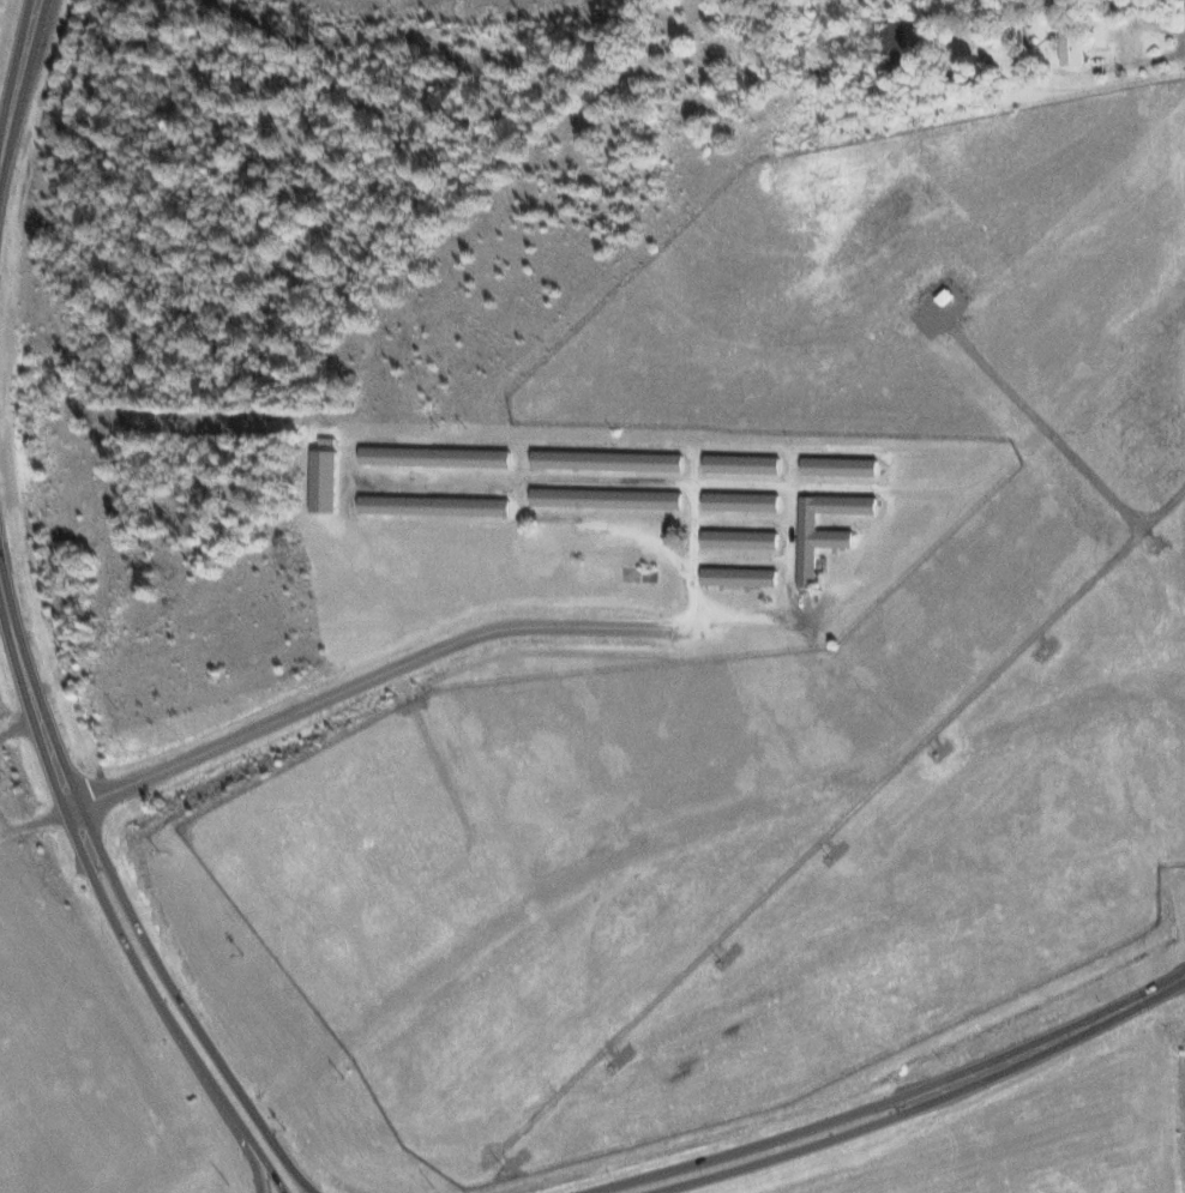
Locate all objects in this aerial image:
building: (894, 41)
building: (1075, 44)
road: (13, 113)
building: (435, 454)
building: (608, 459)
building: (744, 462)
building: (841, 464)
building: (326, 478)
building: (608, 496)
building: (741, 500)
building: (434, 504)
building: (826, 536)
building: (741, 537)
building: (740, 574)
road: (368, 677)
road: (89, 835)
road: (896, 1092)
road: (245, 1143)
road: (258, 1143)
road: (276, 1143)

